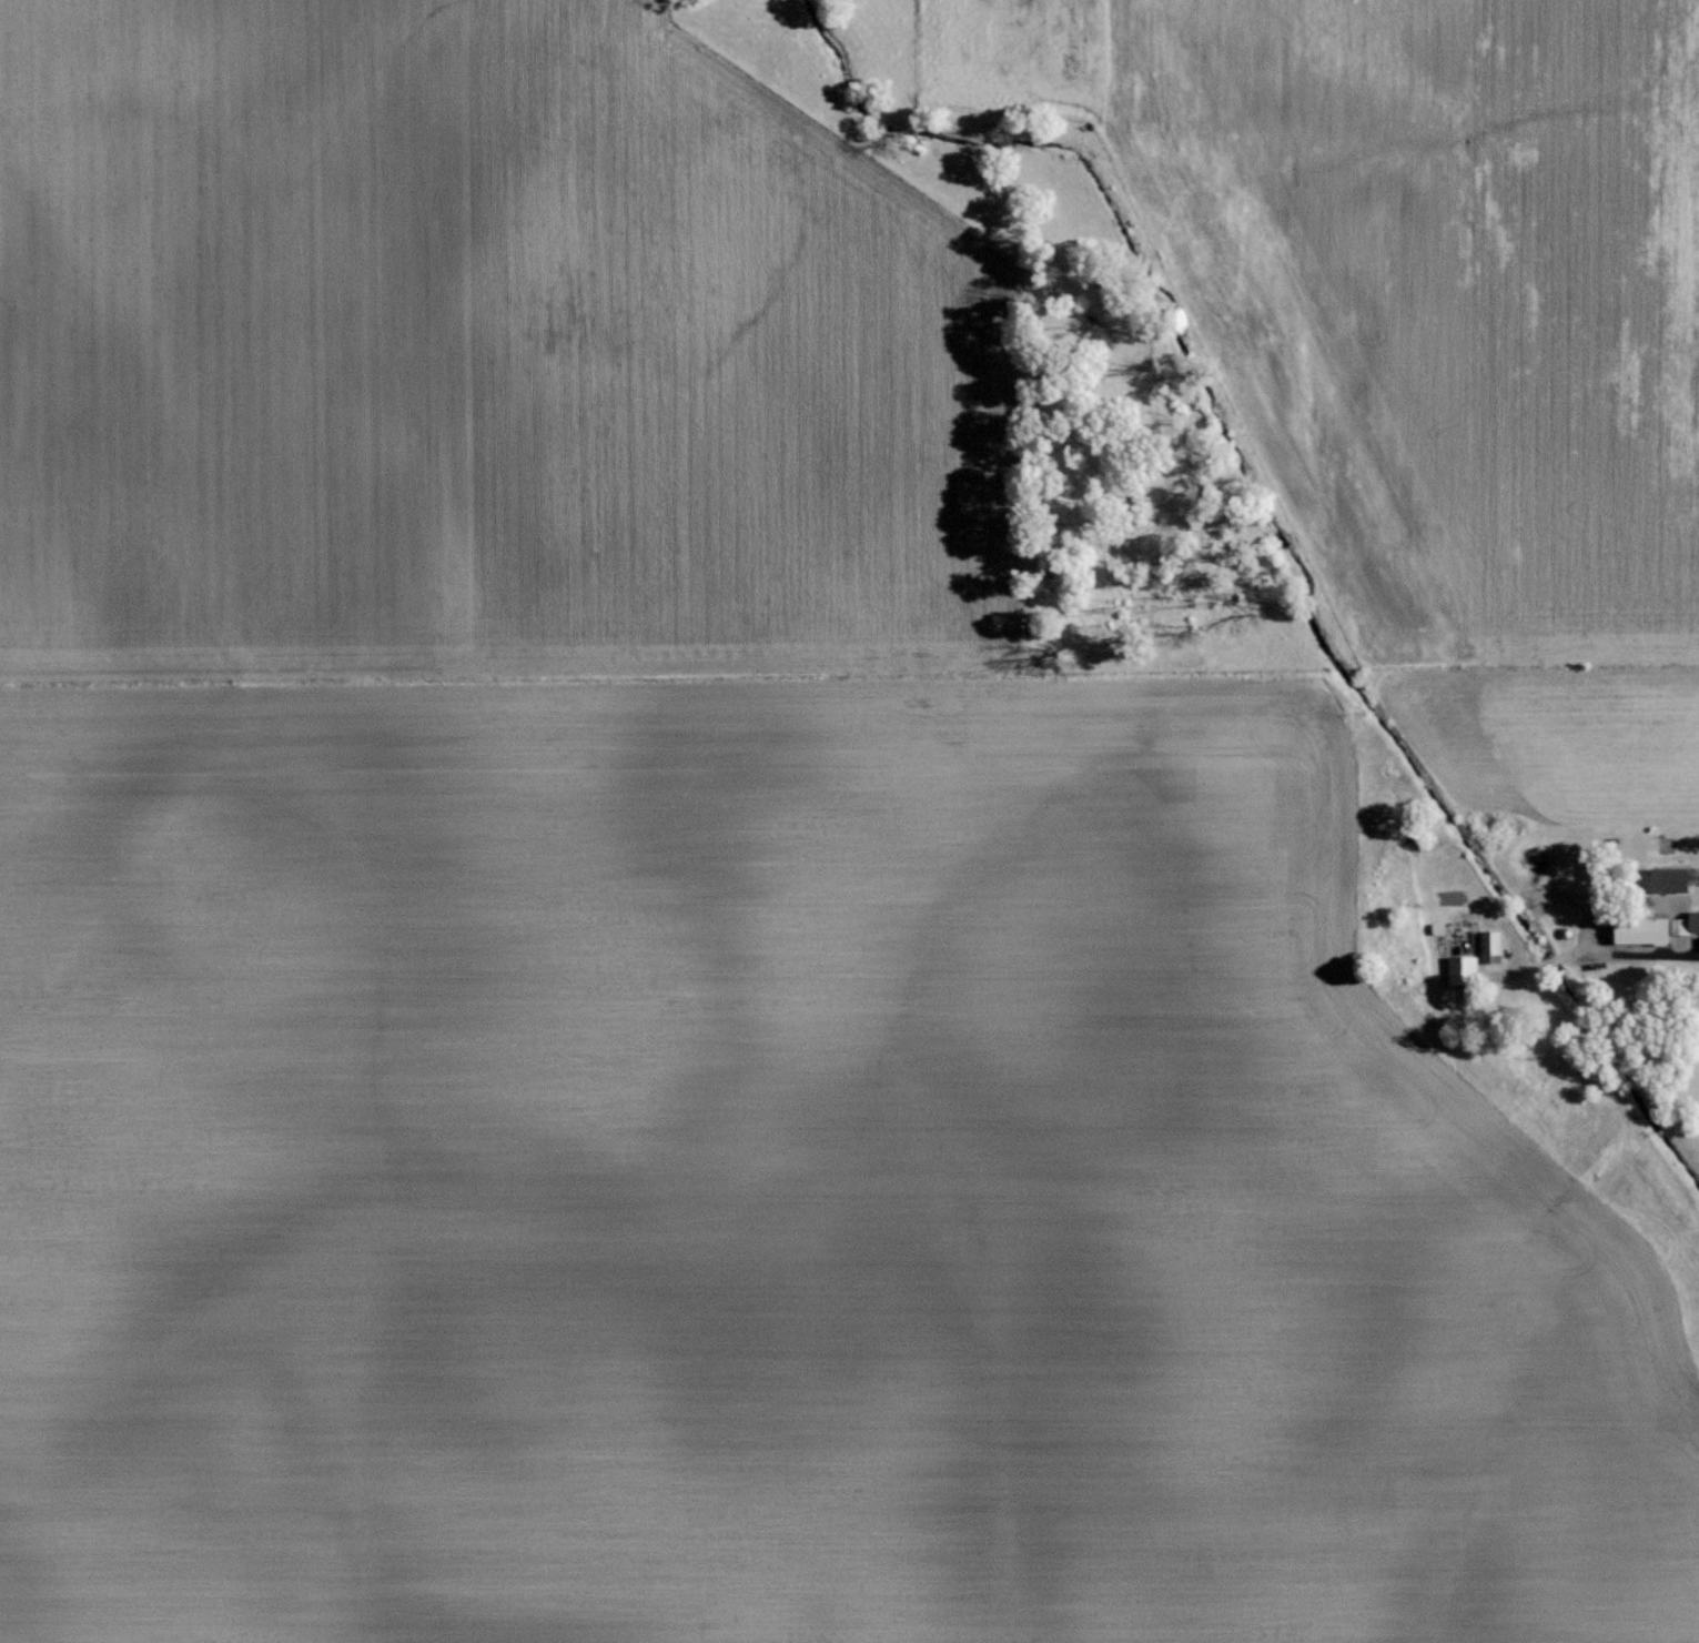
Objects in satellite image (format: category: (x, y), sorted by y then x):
building: (1675, 879)
building: (1681, 926)
building: (1646, 931)
building: (1493, 946)
building: (1465, 970)

